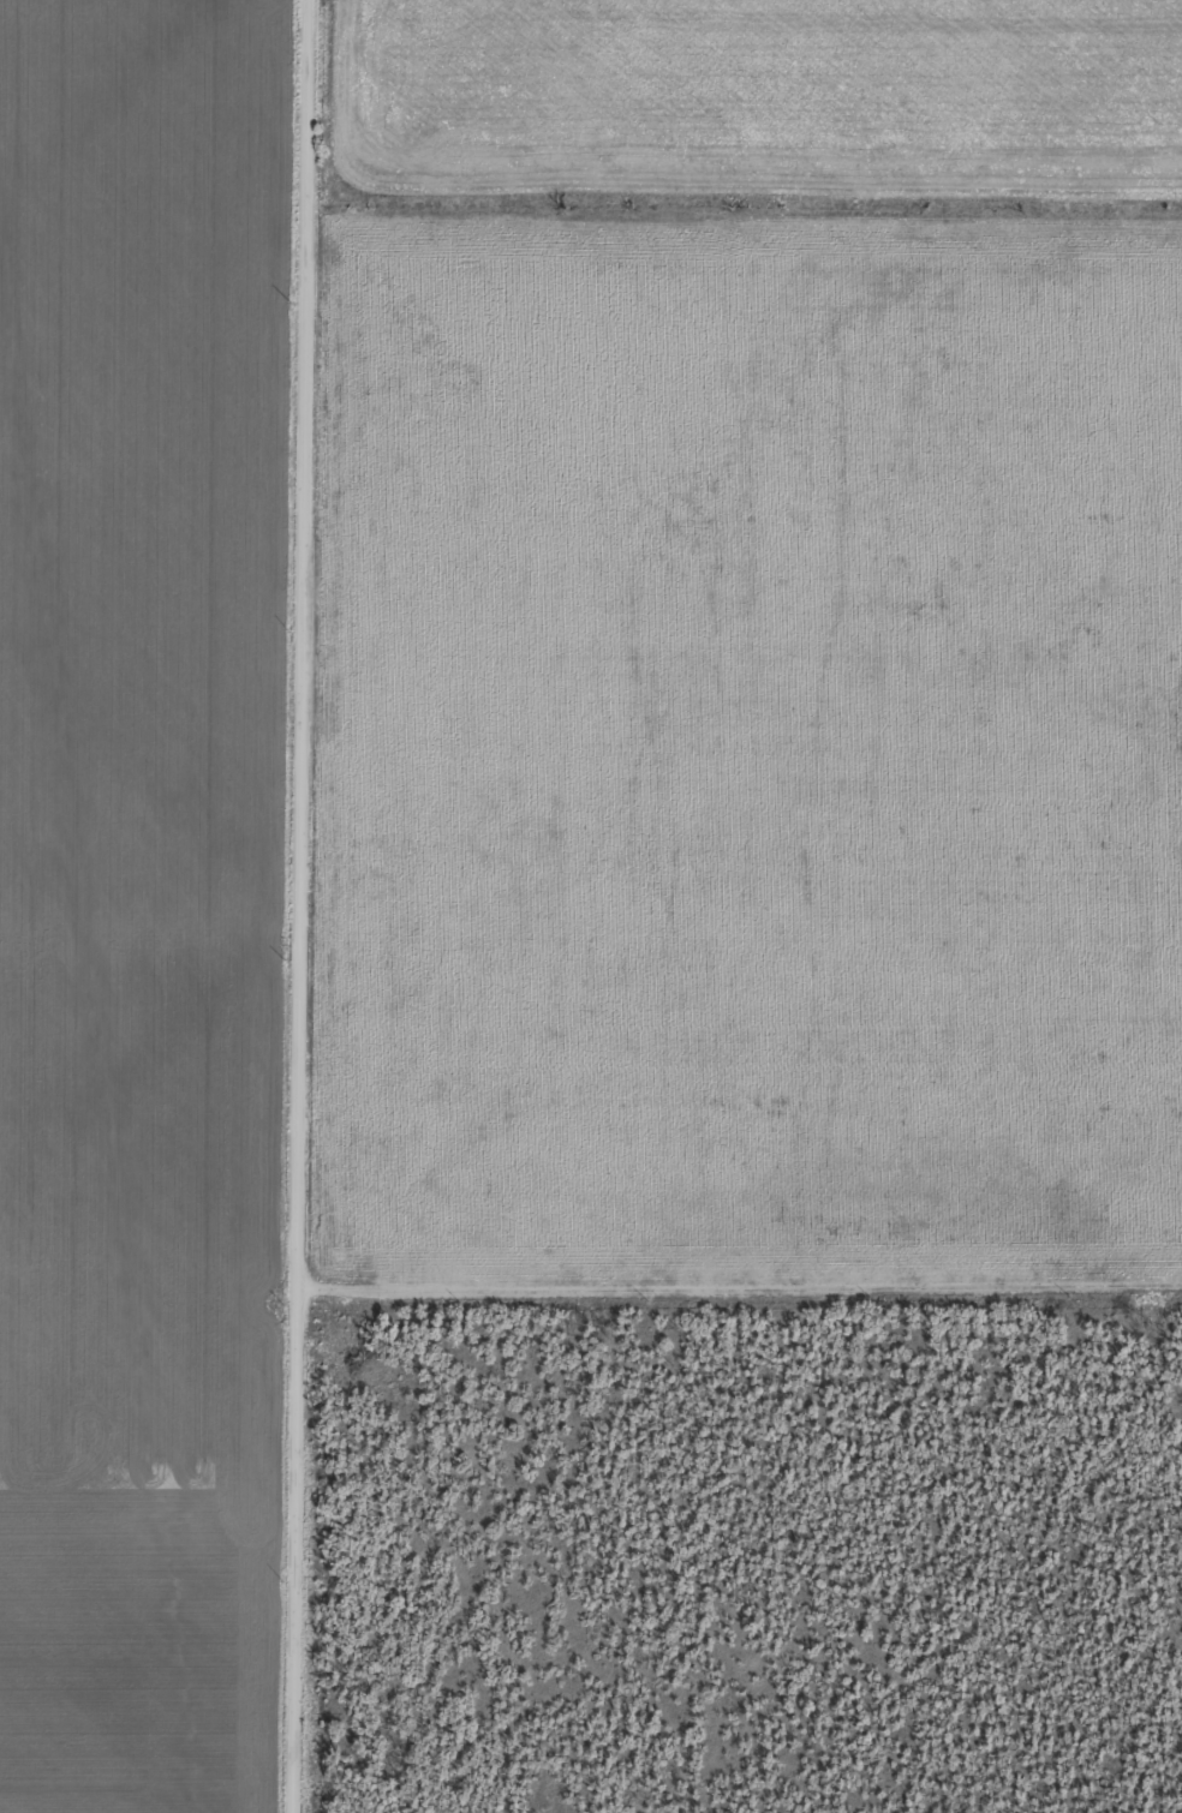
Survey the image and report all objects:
road: (264, 906)
road: (722, 1310)

